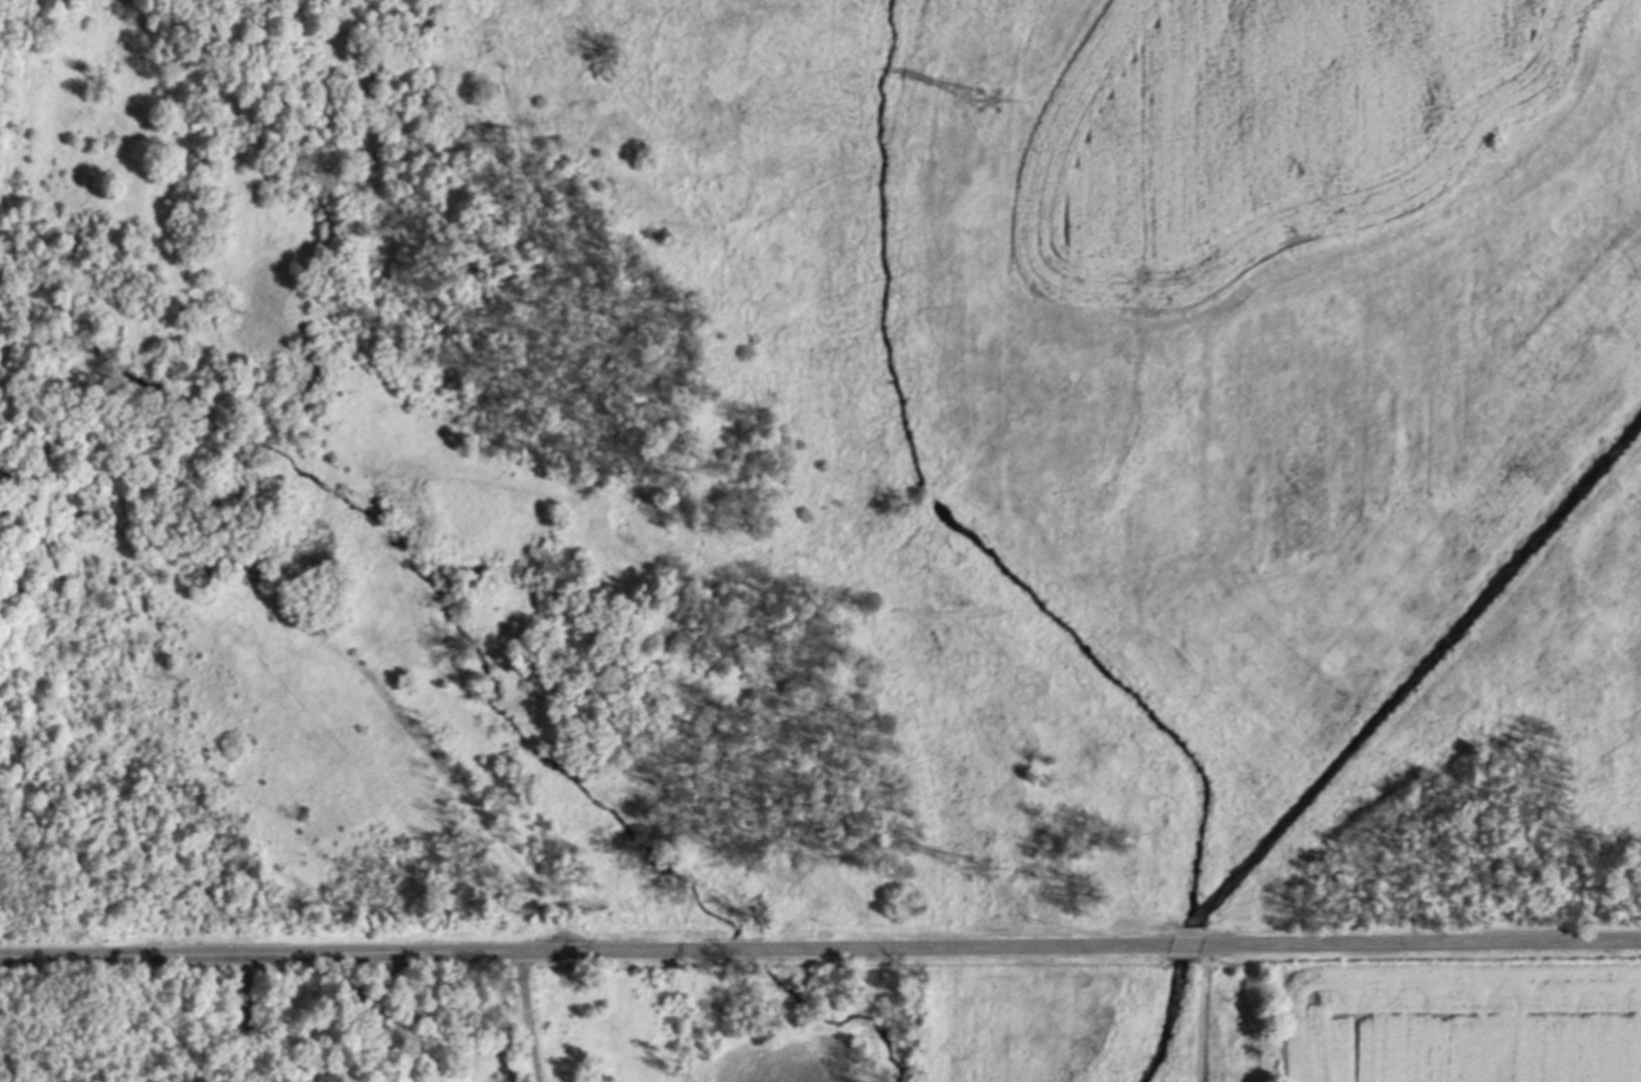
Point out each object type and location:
power tower: (989, 102)
crop: (1267, 133)
quarry: (818, 470)
power tower: (976, 873)
road: (1419, 945)
road: (1182, 948)
road: (583, 953)
road: (379, 1017)
road: (528, 1018)
road: (248, 1020)
crop: (1458, 1022)
crop: (784, 1060)

